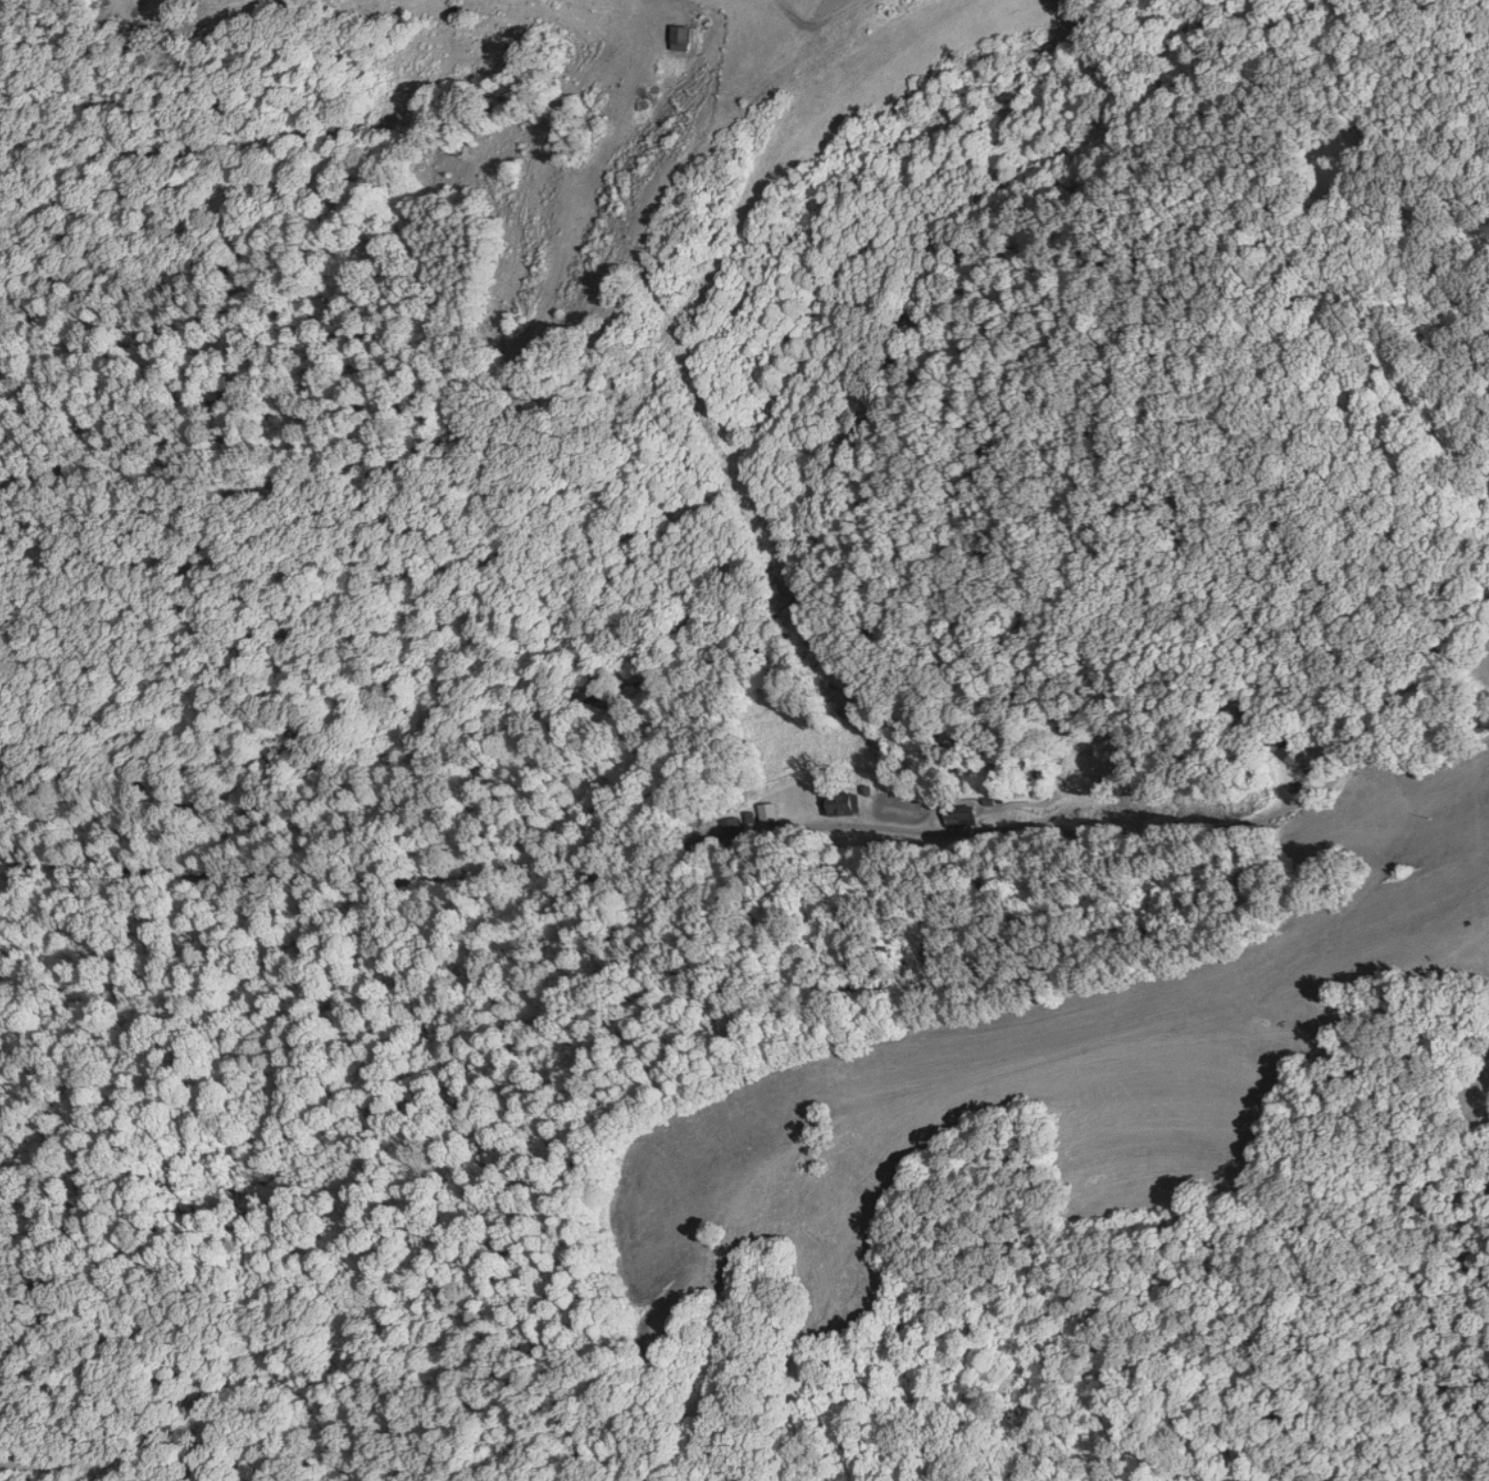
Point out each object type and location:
road: (807, 27)
road: (1305, 245)
road: (1329, 525)
road: (854, 809)

